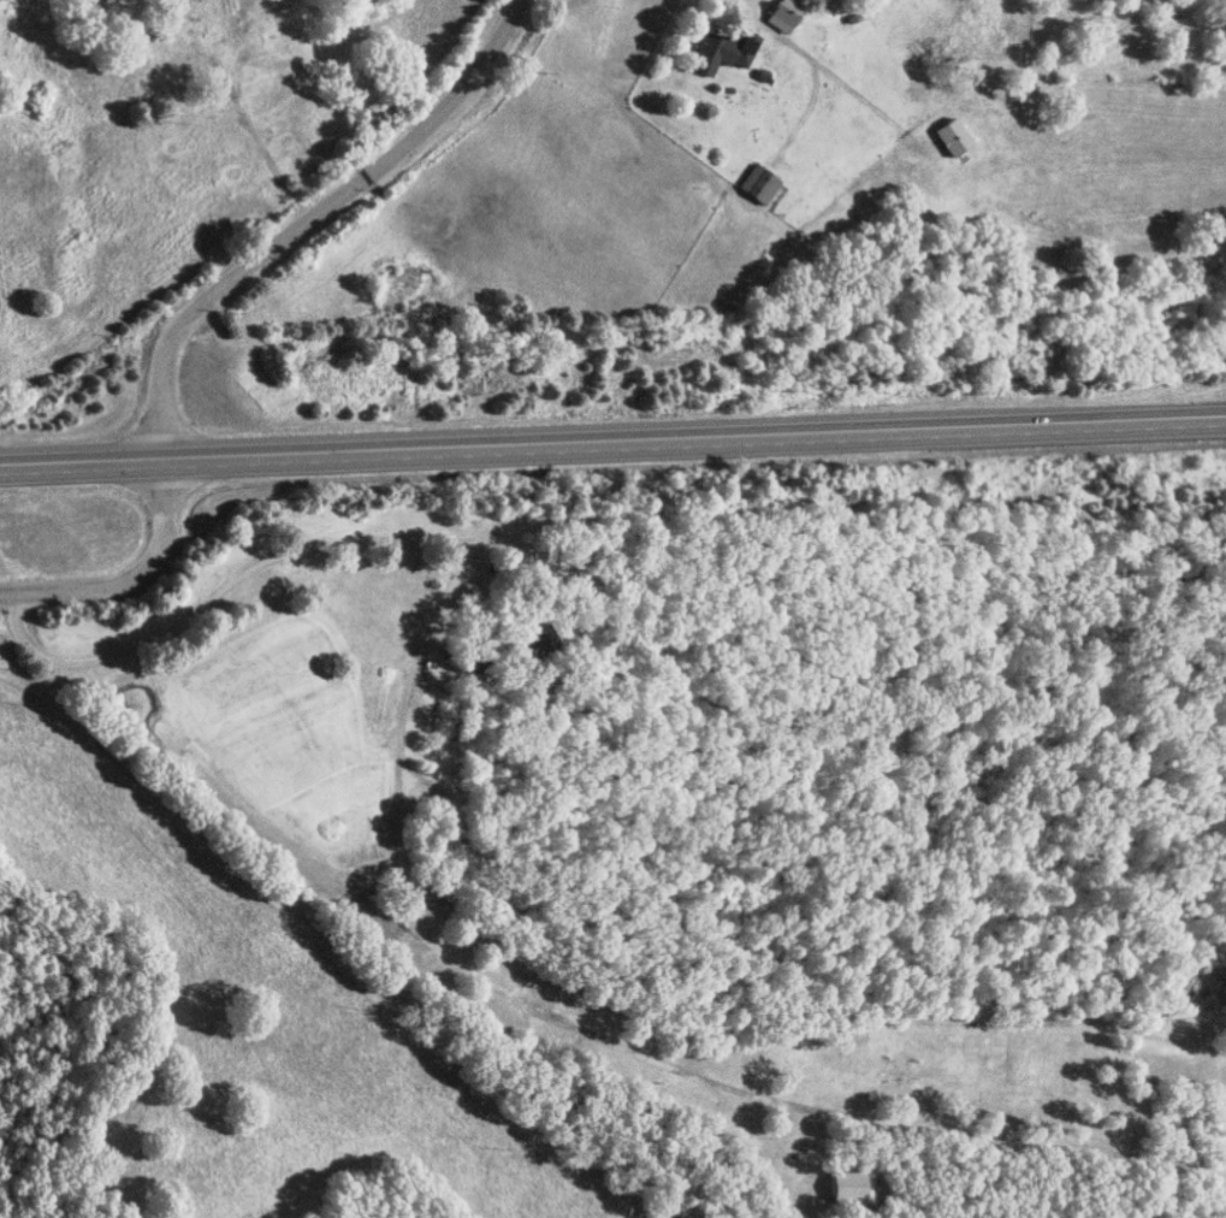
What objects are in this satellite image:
building: (781, 13)
building: (719, 52)
building: (950, 137)
building: (756, 184)
road: (306, 215)
road: (612, 438)
road: (243, 568)
road: (131, 579)
building: (529, 648)
road: (325, 946)
building: (849, 1188)

